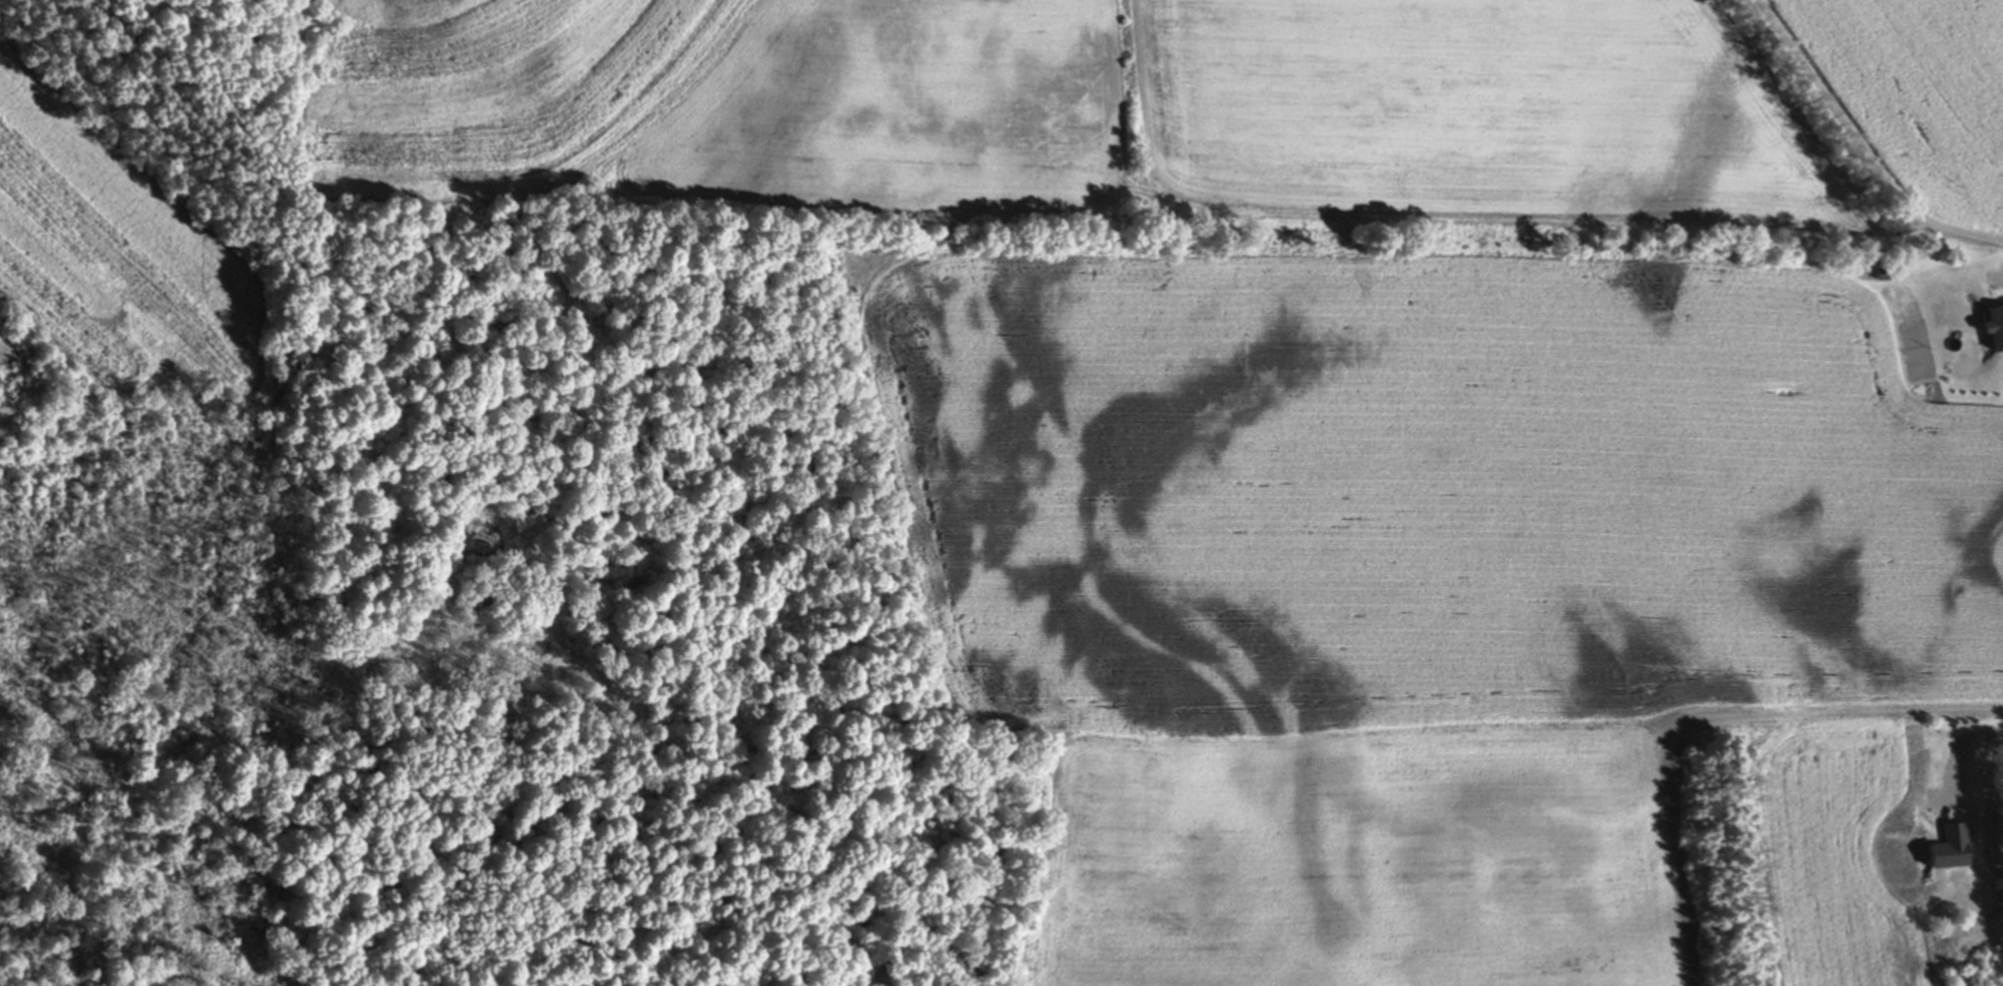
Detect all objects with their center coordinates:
road: (1863, 144)
building: (1993, 326)
road: (1953, 754)

